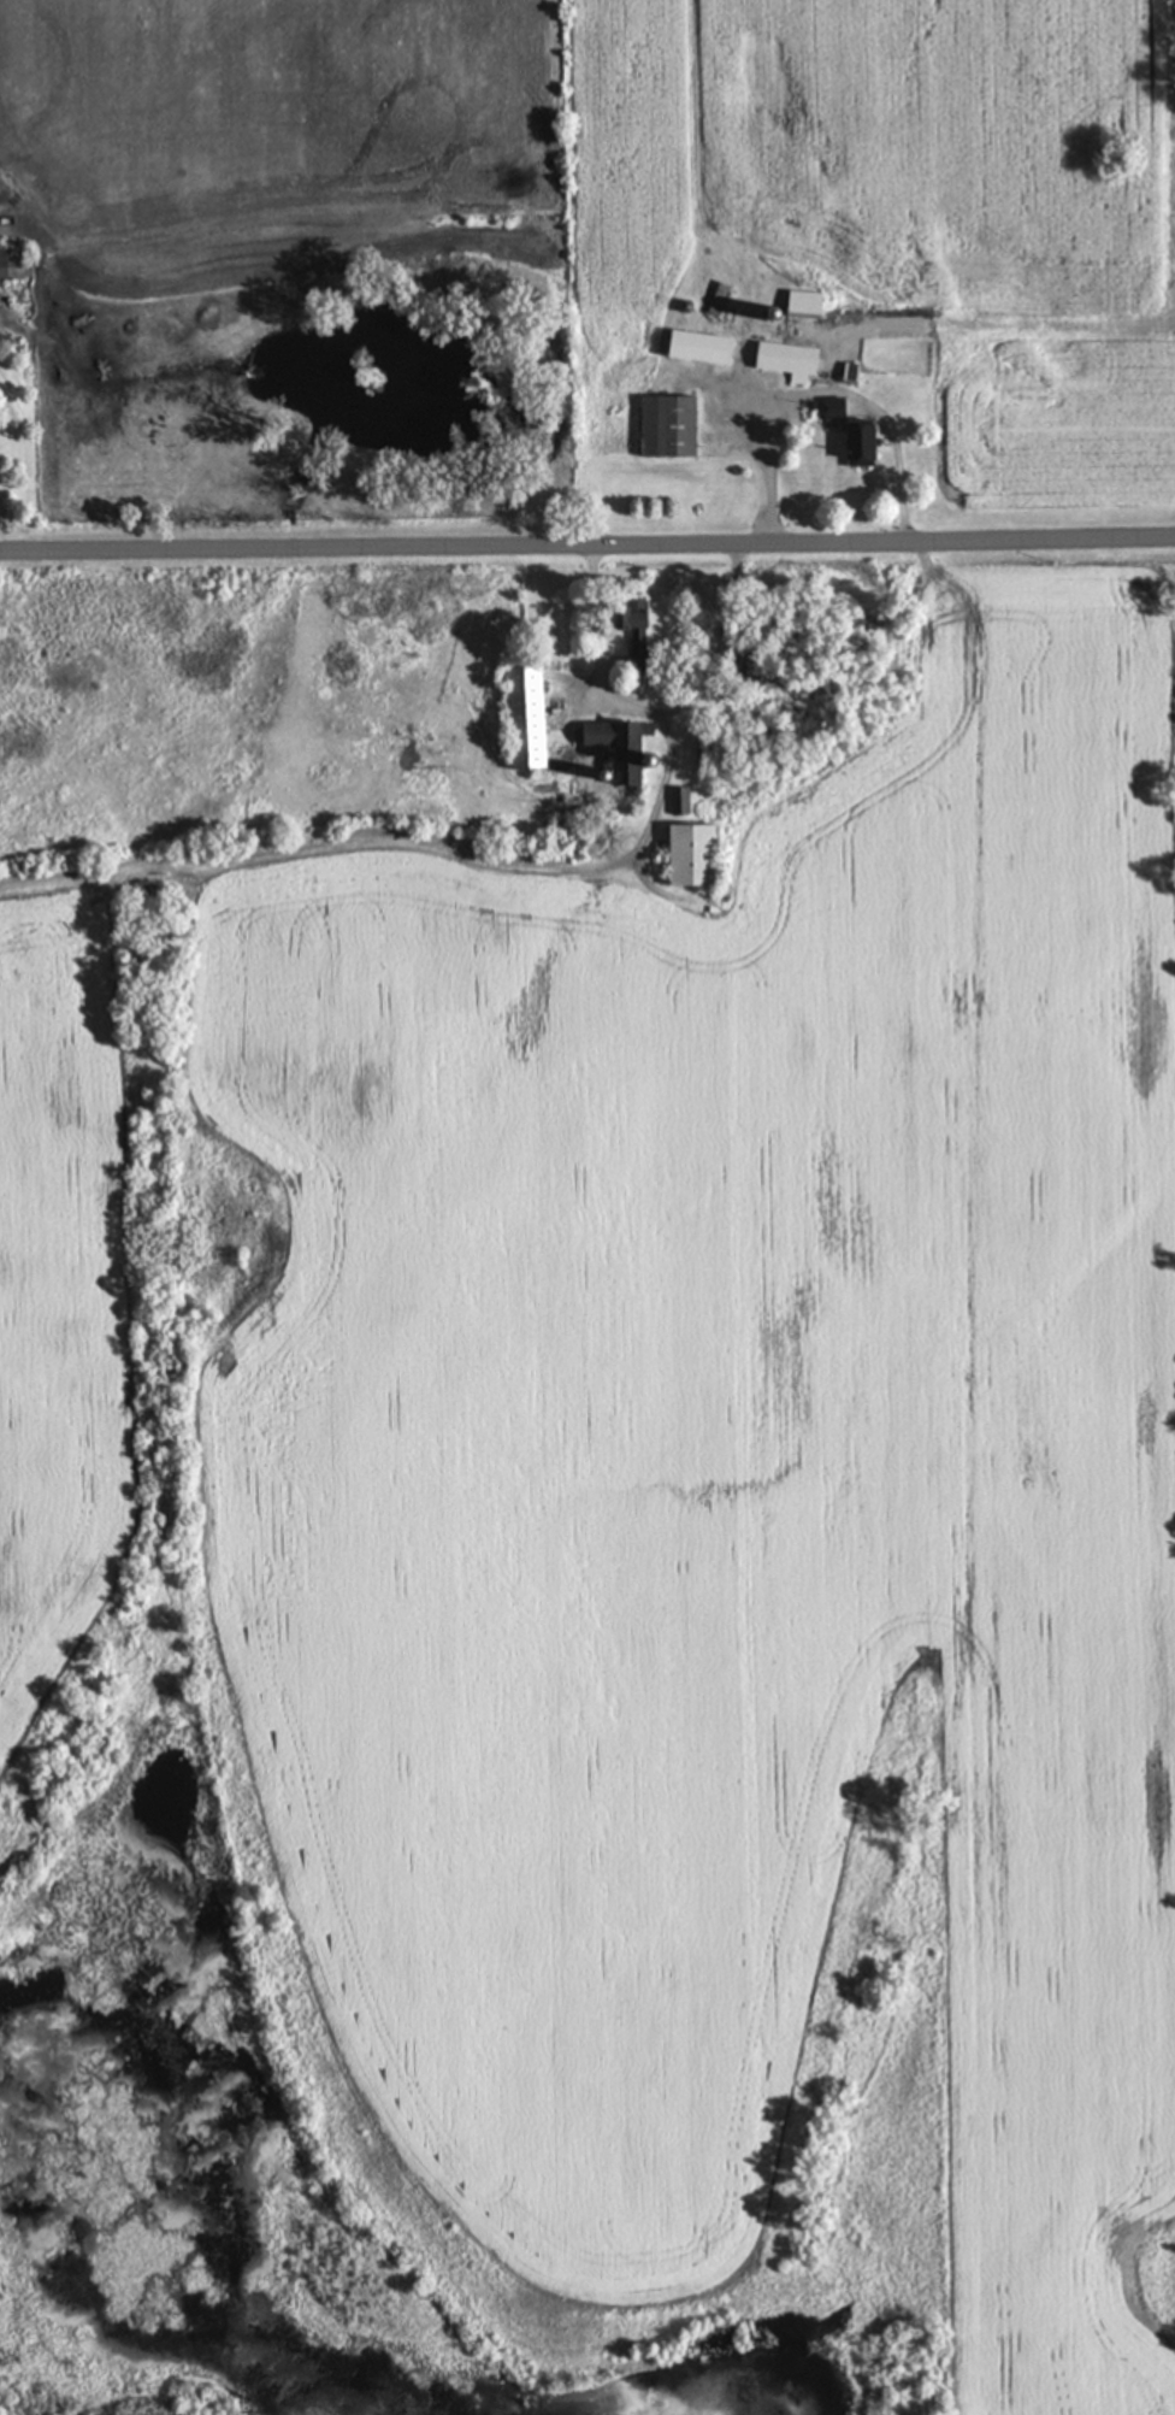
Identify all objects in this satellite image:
building: (16, 263)
building: (798, 304)
building: (716, 307)
building: (693, 348)
building: (785, 361)
road: (822, 391)
building: (666, 426)
building: (852, 446)
road: (586, 541)
building: (626, 625)
building: (521, 719)
building: (613, 765)
building: (678, 802)
building: (685, 855)

